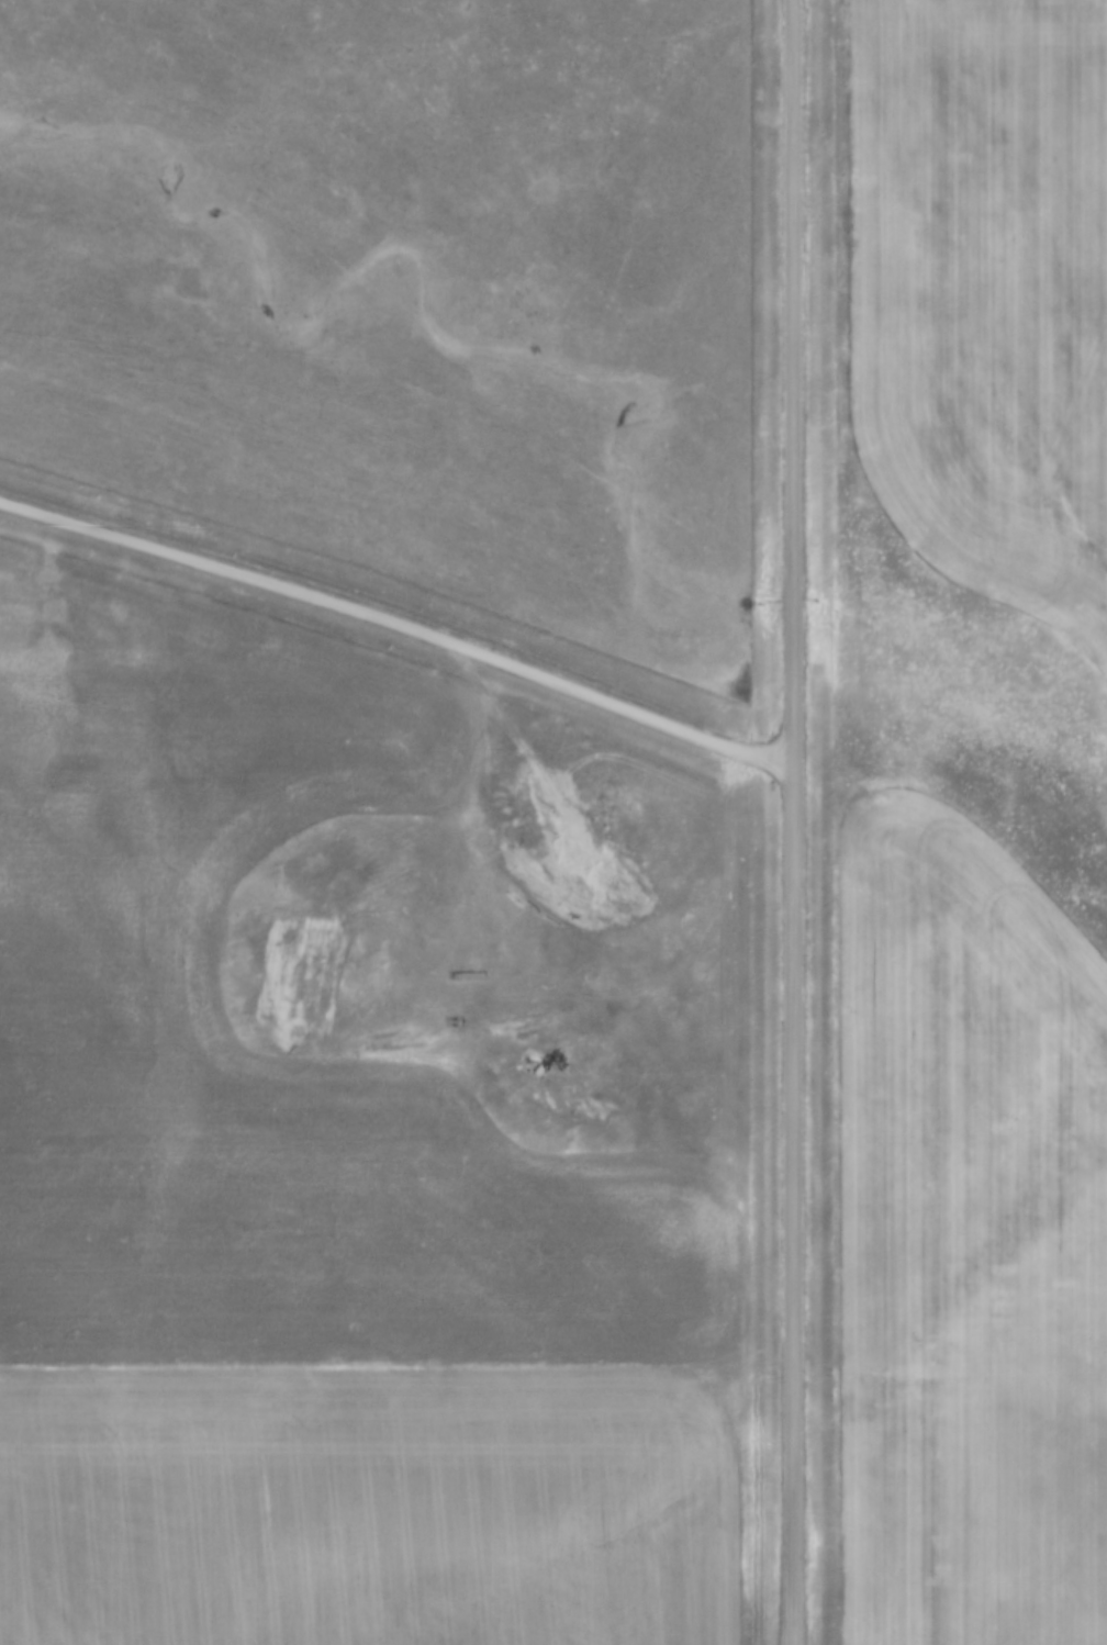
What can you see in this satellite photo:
road: (400, 622)
road: (794, 821)

